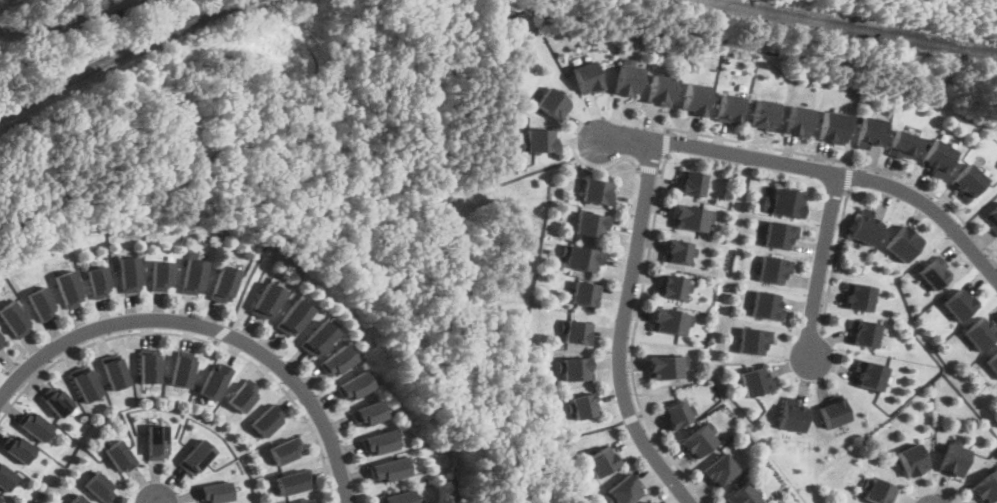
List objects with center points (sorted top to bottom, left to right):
road: (110, 7)
road: (46, 26)
railway: (850, 34)
railway: (121, 54)
road: (486, 70)
building: (587, 77)
building: (628, 79)
building: (661, 89)
building: (695, 99)
building: (552, 103)
building: (729, 108)
building: (764, 114)
building: (798, 120)
building: (833, 125)
building: (870, 131)
building: (538, 139)
road: (670, 140)
building: (902, 143)
building: (937, 157)
road: (848, 162)
road: (204, 166)
road: (601, 168)
road: (652, 169)
road: (818, 169)
road: (850, 176)
building: (967, 181)
building: (693, 183)
building: (596, 191)
building: (788, 202)
road: (975, 210)
building: (691, 217)
building: (992, 217)
building: (590, 223)
building: (866, 228)
building: (779, 233)
building: (903, 243)
building: (677, 251)
building: (579, 258)
road: (836, 258)
road: (821, 262)
building: (773, 269)
building: (932, 274)
building: (132, 282)
building: (162, 283)
building: (195, 285)
building: (672, 286)
building: (100, 290)
building: (227, 293)
building: (583, 293)
building: (70, 295)
building: (860, 296)
building: (958, 304)
building: (767, 305)
building: (266, 307)
building: (41, 310)
building: (669, 321)
building: (291, 323)
building: (15, 326)
road: (622, 329)
road: (208, 331)
building: (576, 332)
building: (866, 332)
building: (980, 332)
road: (633, 337)
road: (196, 338)
building: (2, 340)
building: (753, 340)
building: (317, 343)
building: (2, 347)
building: (992, 361)
building: (664, 366)
building: (335, 368)
building: (574, 368)
building: (871, 374)
building: (151, 375)
building: (184, 378)
building: (116, 381)
building: (756, 381)
building: (86, 389)
building: (214, 389)
building: (354, 392)
building: (246, 403)
building: (58, 405)
building: (582, 405)
building: (835, 413)
building: (676, 414)
road: (631, 416)
building: (793, 416)
building: (367, 420)
building: (268, 427)
building: (37, 428)
road: (580, 434)
building: (153, 441)
building: (698, 441)
building: (378, 448)
building: (286, 450)
building: (19, 453)
building: (120, 455)
building: (195, 455)
building: (912, 458)
building: (953, 458)
building: (599, 462)
building: (720, 470)
building: (390, 476)
building: (8, 480)
building: (292, 482)
building: (986, 486)
building: (99, 489)
building: (877, 489)
building: (622, 490)
building: (214, 491)
building: (743, 495)
building: (0, 497)
building: (400, 499)
building: (76, 500)
building: (304, 501)
building: (0, 502)
building: (650, 502)

